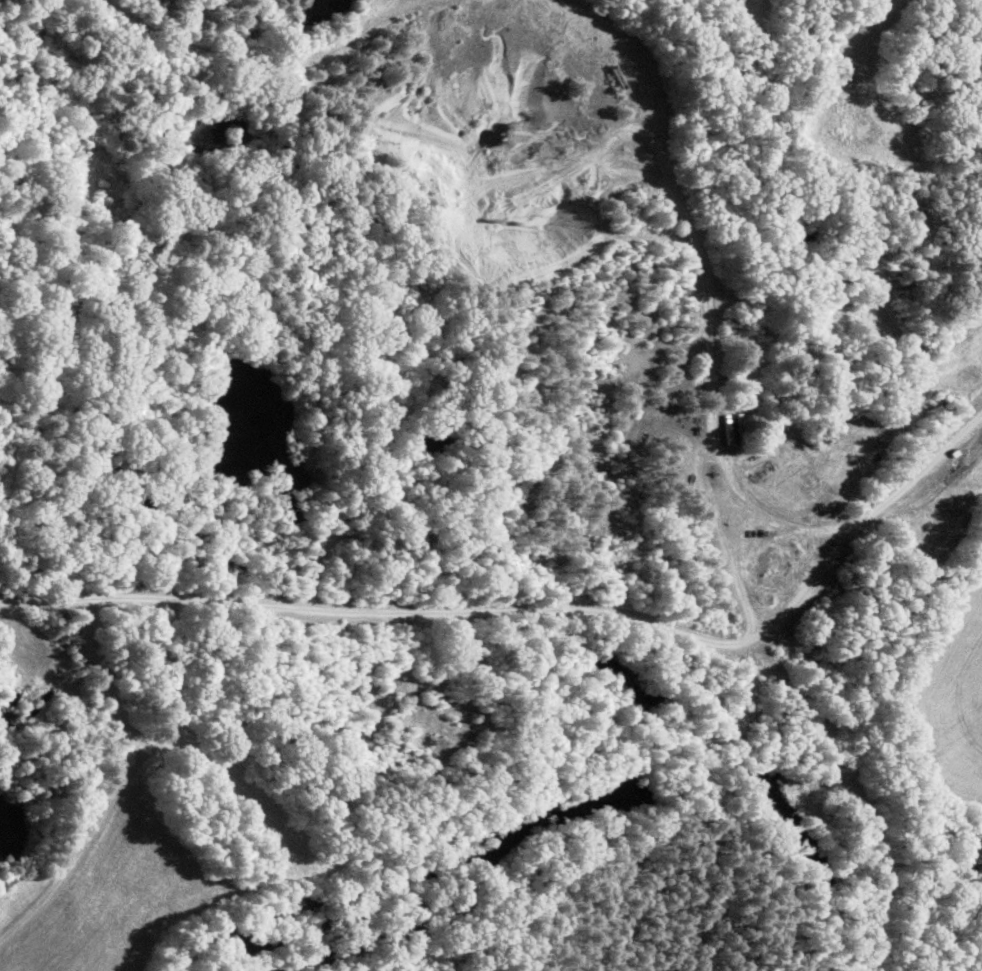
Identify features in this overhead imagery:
building: (615, 86)

